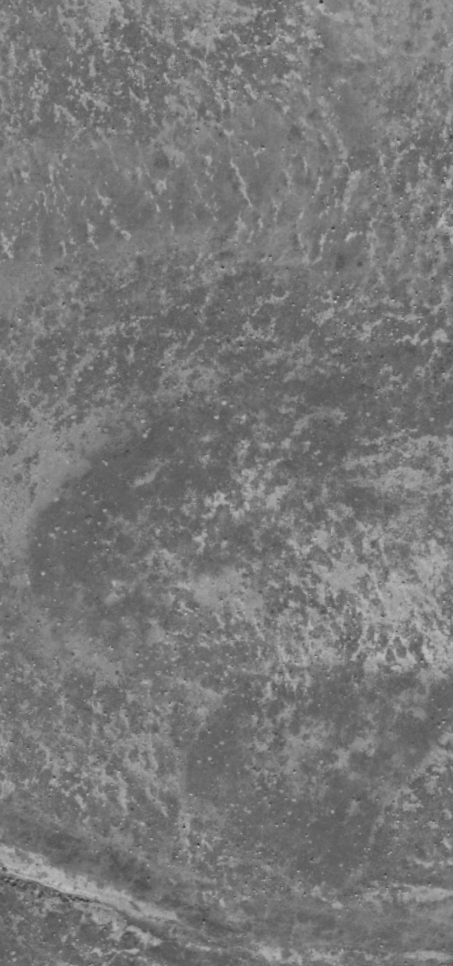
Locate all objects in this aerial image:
road: (223, 875)

